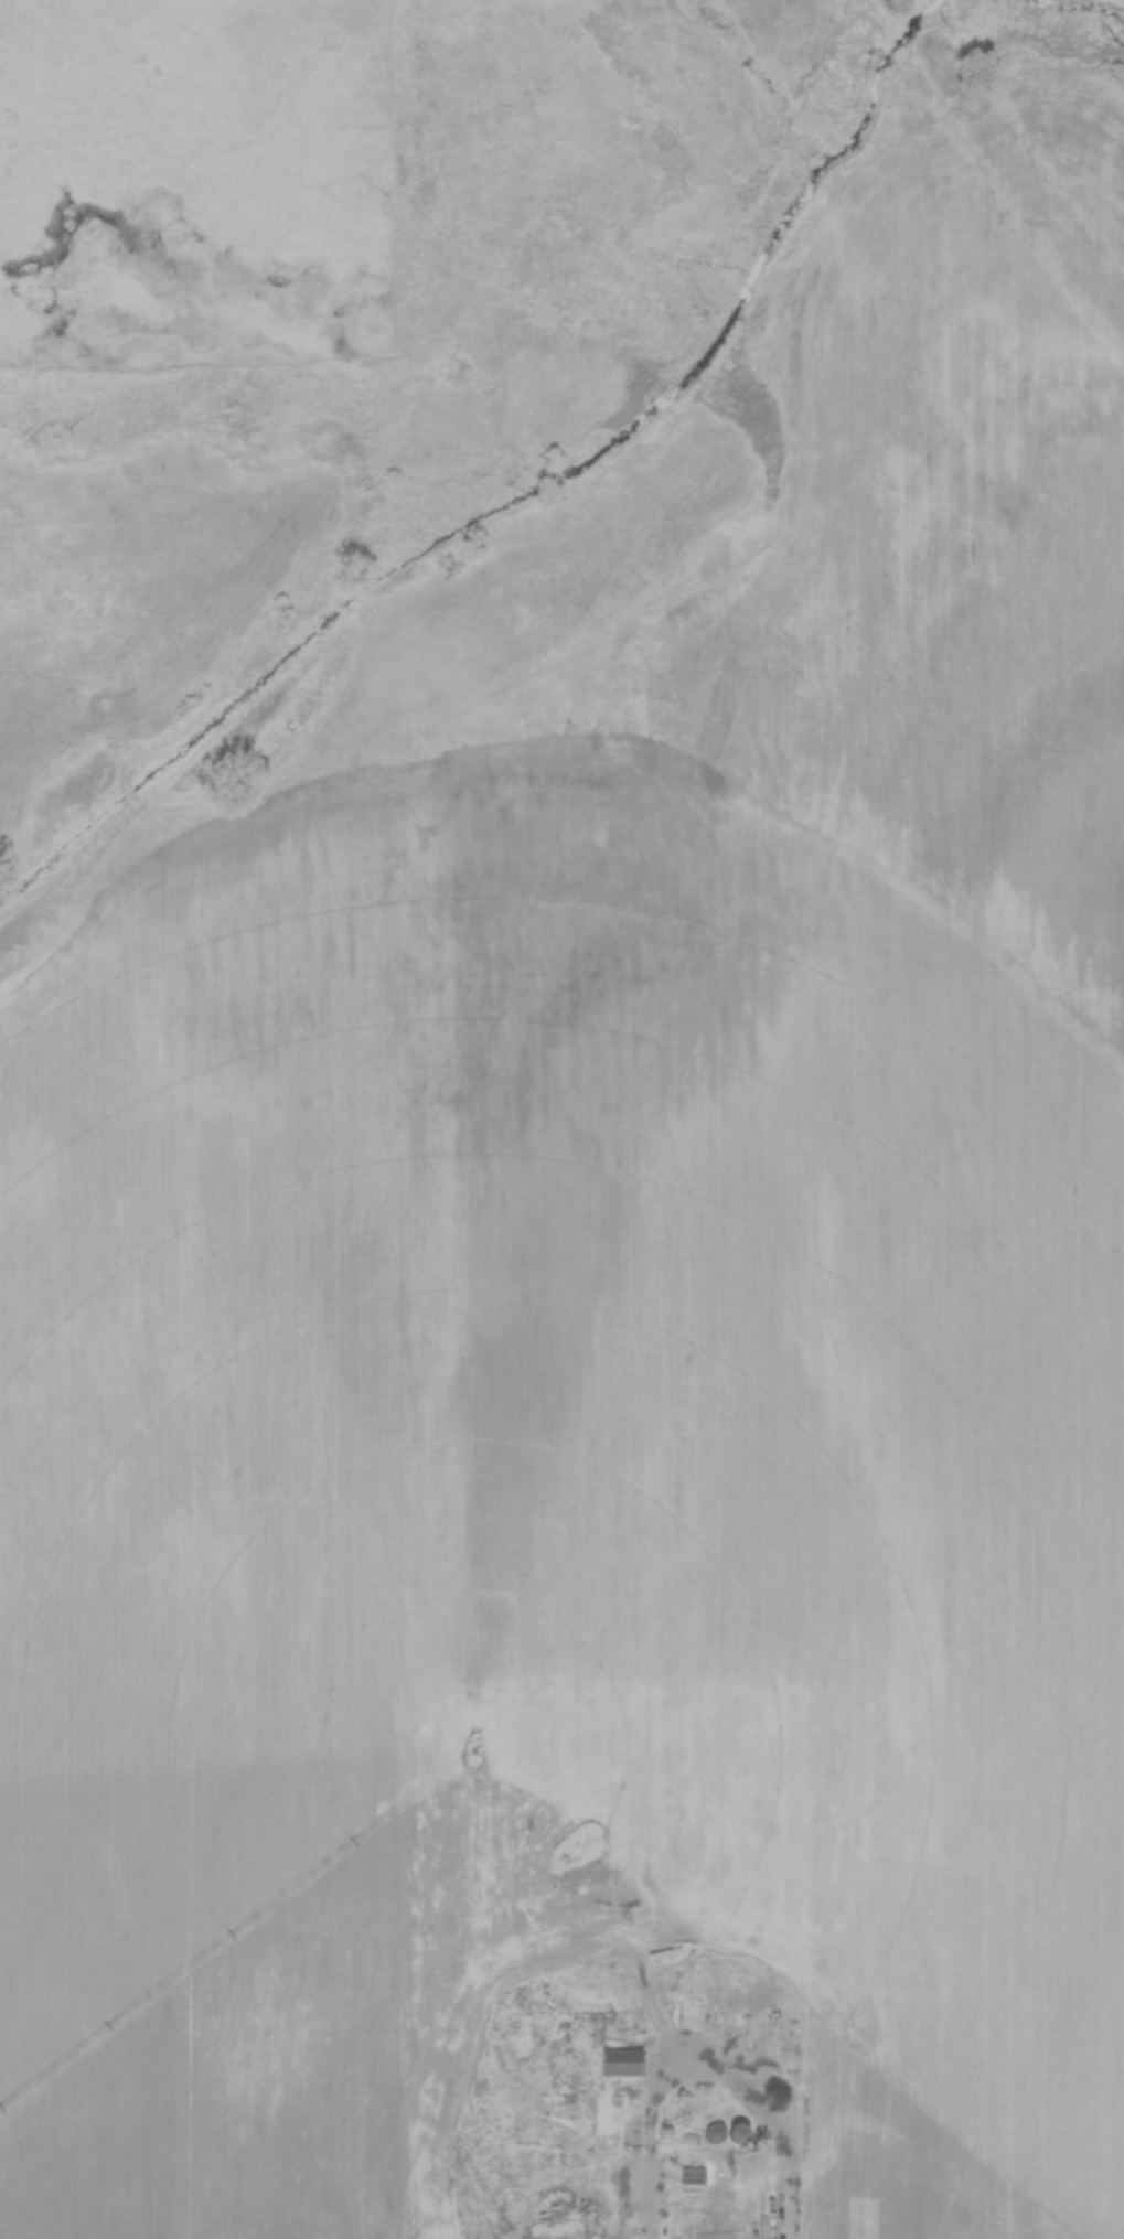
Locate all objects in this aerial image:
road: (718, 2058)
building: (621, 2061)

